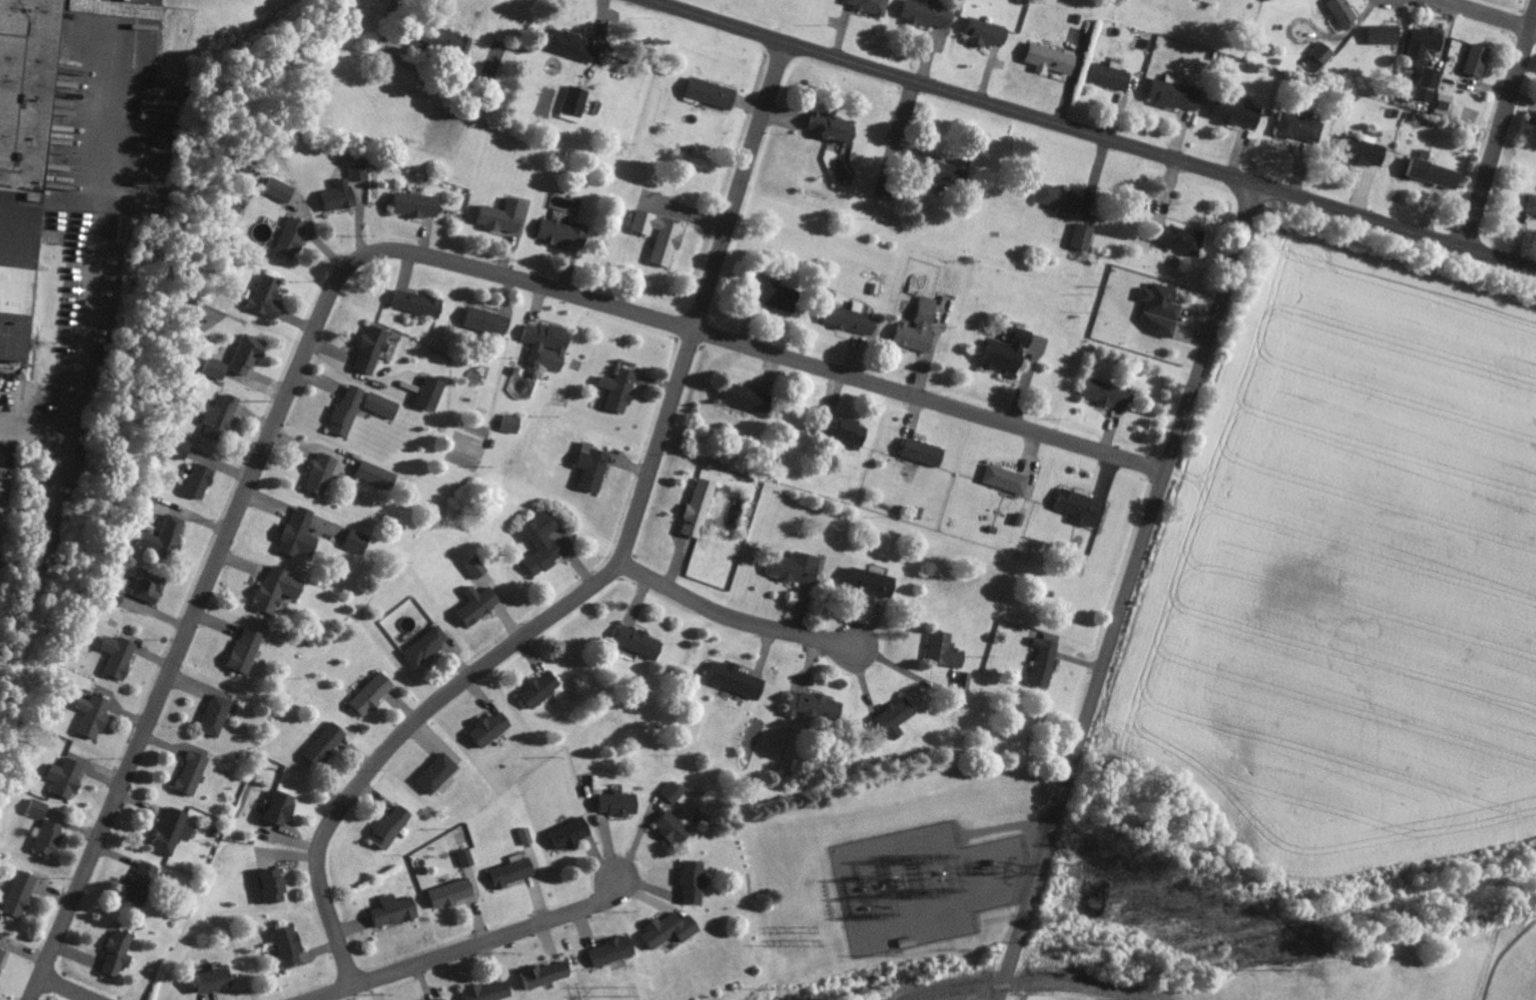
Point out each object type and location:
building: (873, 5)
building: (1346, 12)
building: (931, 13)
road: (1486, 15)
building: (989, 33)
building: (1387, 34)
building: (573, 45)
building: (1428, 53)
road: (393, 55)
building: (1321, 57)
building: (1055, 59)
building: (1480, 60)
building: (1114, 75)
building: (715, 93)
building: (1177, 93)
building: (1425, 93)
building: (577, 104)
building: (1445, 104)
building: (1239, 113)
building: (1532, 117)
building: (836, 127)
building: (1301, 127)
road: (1088, 137)
road: (1499, 141)
building: (1366, 152)
building: (25, 160)
building: (930, 164)
building: (1437, 171)
building: (361, 172)
building: (888, 189)
building: (282, 190)
building: (341, 199)
building: (1065, 199)
building: (419, 205)
building: (1533, 205)
building: (506, 216)
building: (125, 225)
building: (566, 233)
building: (663, 235)
building: (294, 237)
building: (1085, 237)
building: (1185, 239)
road: (97, 244)
road: (371, 255)
building: (777, 295)
building: (269, 297)
building: (420, 303)
building: (1162, 309)
building: (854, 320)
building: (488, 321)
building: (920, 327)
building: (550, 345)
building: (373, 349)
building: (1009, 351)
building: (250, 355)
building: (219, 369)
building: (623, 390)
building: (433, 393)
building: (1108, 394)
building: (747, 397)
building: (384, 405)
building: (350, 409)
building: (223, 415)
building: (514, 422)
building: (849, 430)
building: (181, 446)
building: (926, 452)
building: (596, 466)
building: (323, 472)
building: (378, 475)
building: (202, 479)
building: (1007, 479)
building: (5, 496)
building: (701, 506)
building: (1082, 507)
building: (301, 532)
building: (168, 535)
building: (359, 540)
building: (544, 543)
road: (609, 564)
building: (477, 566)
building: (799, 566)
building: (872, 581)
building: (151, 585)
building: (281, 588)
road: (1124, 592)
building: (116, 595)
building: (480, 603)
road: (731, 615)
building: (642, 641)
building: (429, 645)
building: (248, 649)
building: (946, 649)
building: (121, 655)
building: (1047, 658)
road: (903, 670)
building: (738, 678)
building: (964, 680)
building: (543, 688)
building: (375, 693)
building: (814, 705)
building: (217, 714)
building: (95, 715)
building: (897, 717)
building: (494, 727)
building: (328, 743)
building: (194, 772)
building: (440, 772)
building: (68, 777)
building: (676, 791)
building: (622, 803)
building: (284, 807)
building: (40, 808)
building: (394, 825)
building: (676, 827)
building: (175, 829)
building: (572, 833)
building: (528, 835)
building: (50, 836)
building: (469, 857)
building: (515, 872)
building: (694, 880)
building: (143, 883)
building: (277, 884)
power substation: (922, 885)
building: (22, 893)
building: (454, 893)
building: (397, 910)
building: (673, 928)
building: (291, 945)
road: (464, 946)
building: (613, 950)
building: (121, 952)
building: (3, 956)
park: (1512, 956)
building: (547, 974)
building: (219, 979)
railway: (1050, 981)
road: (73, 986)
building: (492, 990)
railway: (939, 996)
building: (446, 999)
building: (1136, 999)

